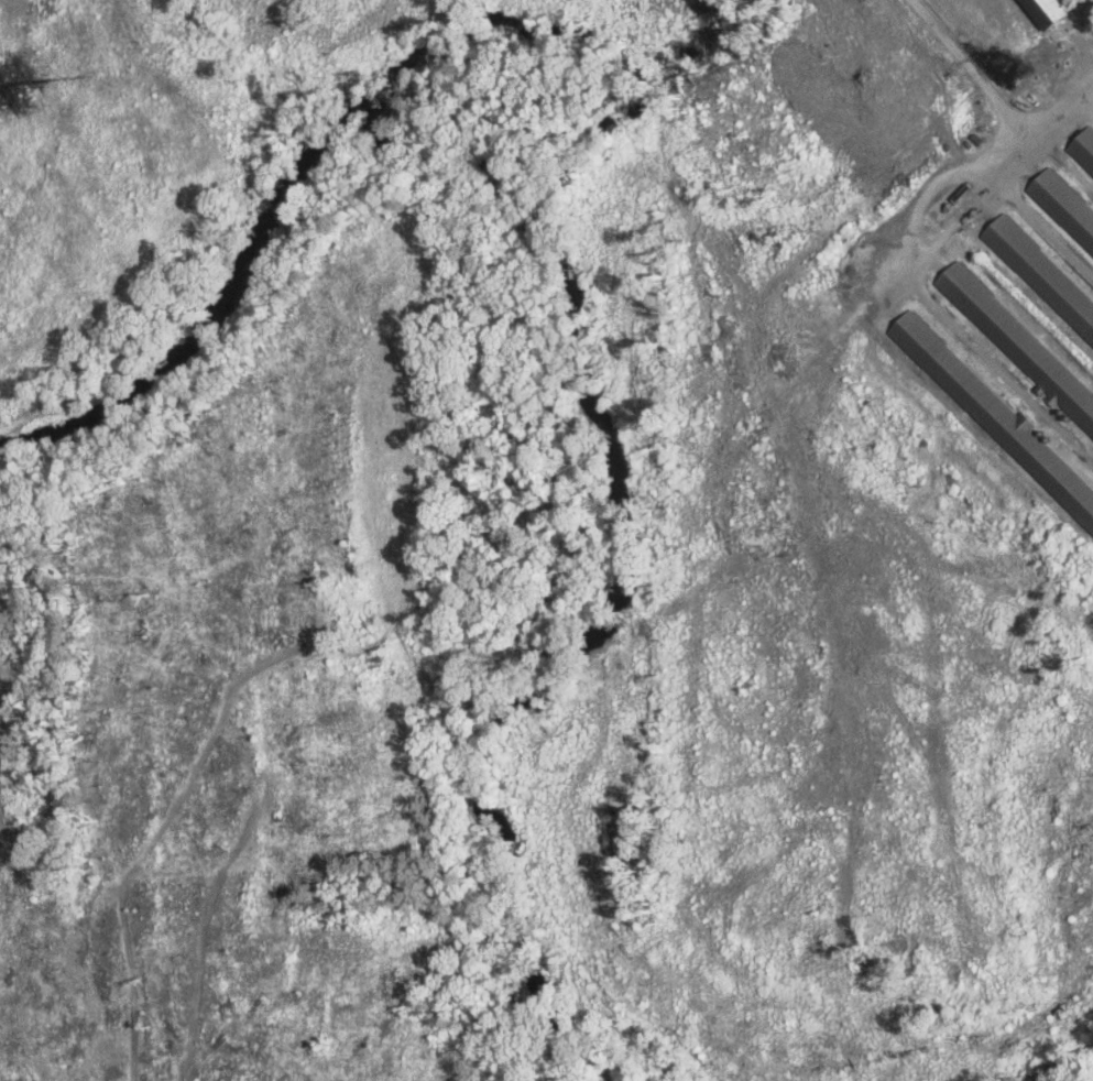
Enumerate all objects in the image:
building: (1082, 150)
building: (1063, 208)
building: (1041, 274)
building: (1019, 343)
building: (995, 414)

